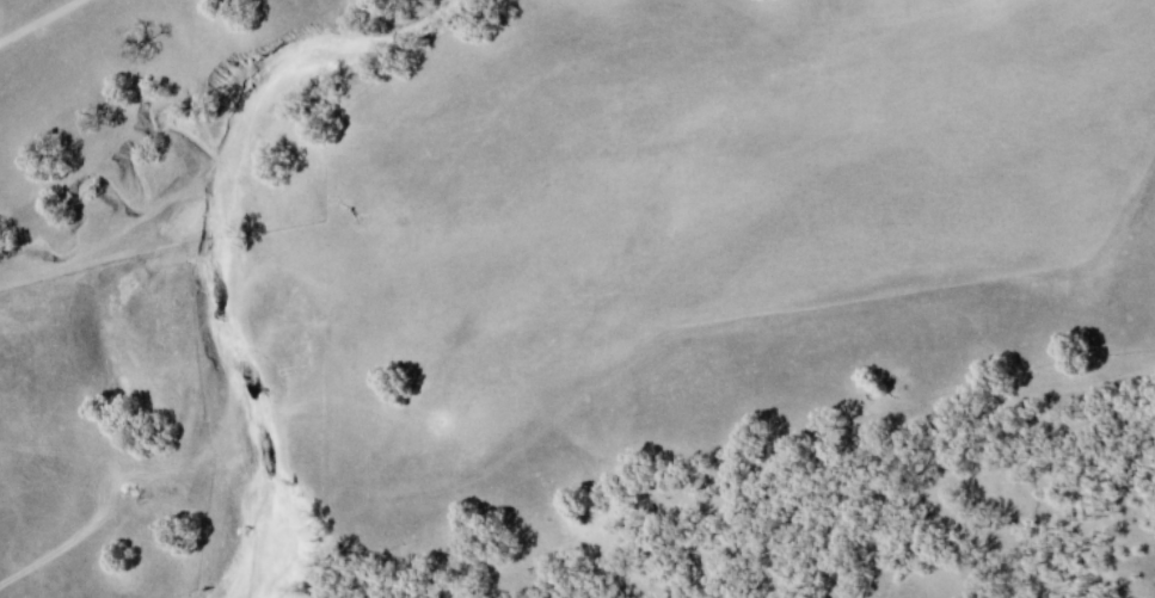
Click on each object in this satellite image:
road: (36, 19)
road: (112, 505)

